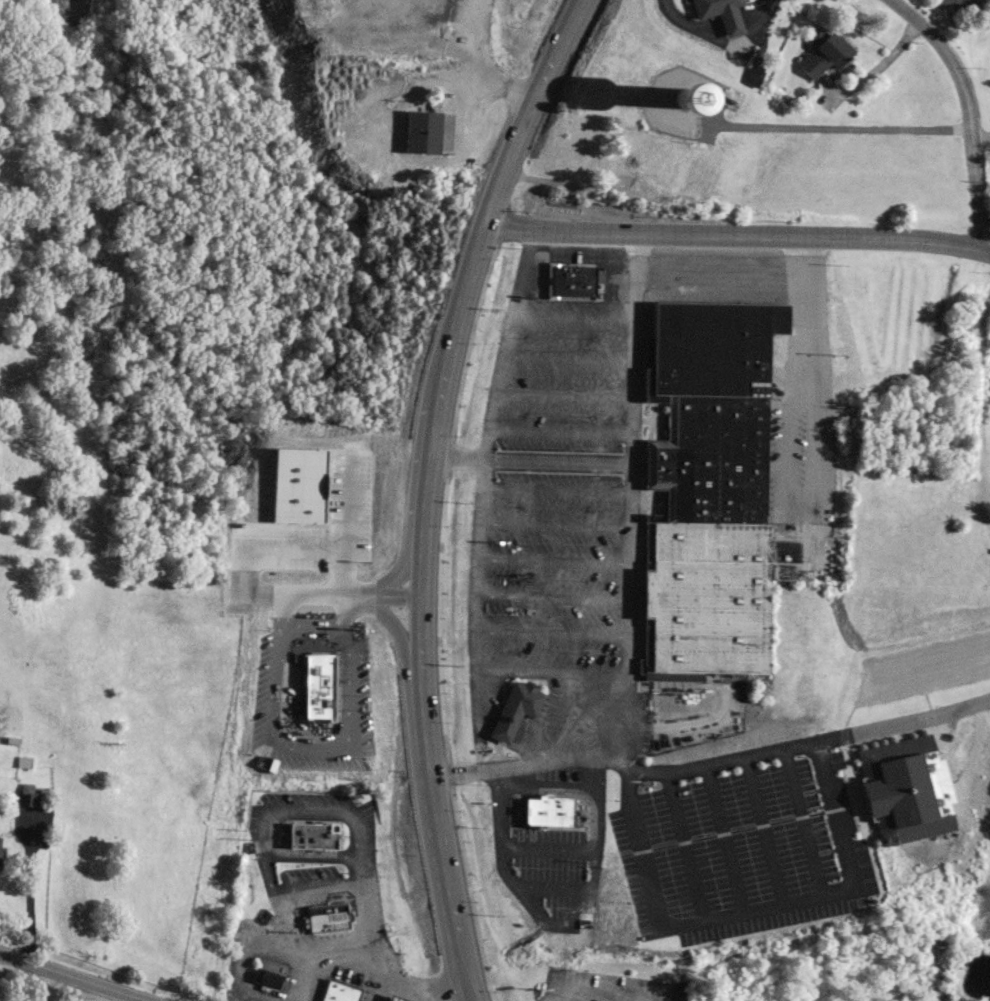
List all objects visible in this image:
building: (958, 2)
building: (719, 13)
road: (717, 30)
road: (477, 41)
building: (824, 54)
road: (880, 69)
road: (480, 86)
road: (965, 109)
building: (420, 131)
road: (842, 131)
road: (979, 139)
building: (651, 170)
water tower: (690, 176)
street lamp: (529, 211)
road: (732, 234)
road: (985, 250)
street lamp: (989, 272)
building: (574, 280)
road: (802, 316)
road: (636, 348)
road: (982, 392)
building: (989, 398)
road: (482, 449)
road: (424, 489)
building: (708, 492)
building: (328, 551)
road: (345, 598)
road: (626, 603)
road: (555, 673)
building: (515, 712)
road: (796, 744)
road: (326, 754)
building: (895, 791)
building: (547, 811)
road: (798, 821)
road: (758, 829)
building: (311, 835)
road: (719, 838)
parking lot: (736, 841)
road: (681, 845)
road: (637, 849)
road: (824, 891)
building: (327, 918)
road: (75, 975)
building: (266, 978)
road: (34, 981)
parking lot: (602, 986)
road: (415, 990)
building: (338, 992)
road: (591, 992)
building: (679, 997)
building: (393, 998)
gas station: (396, 998)

